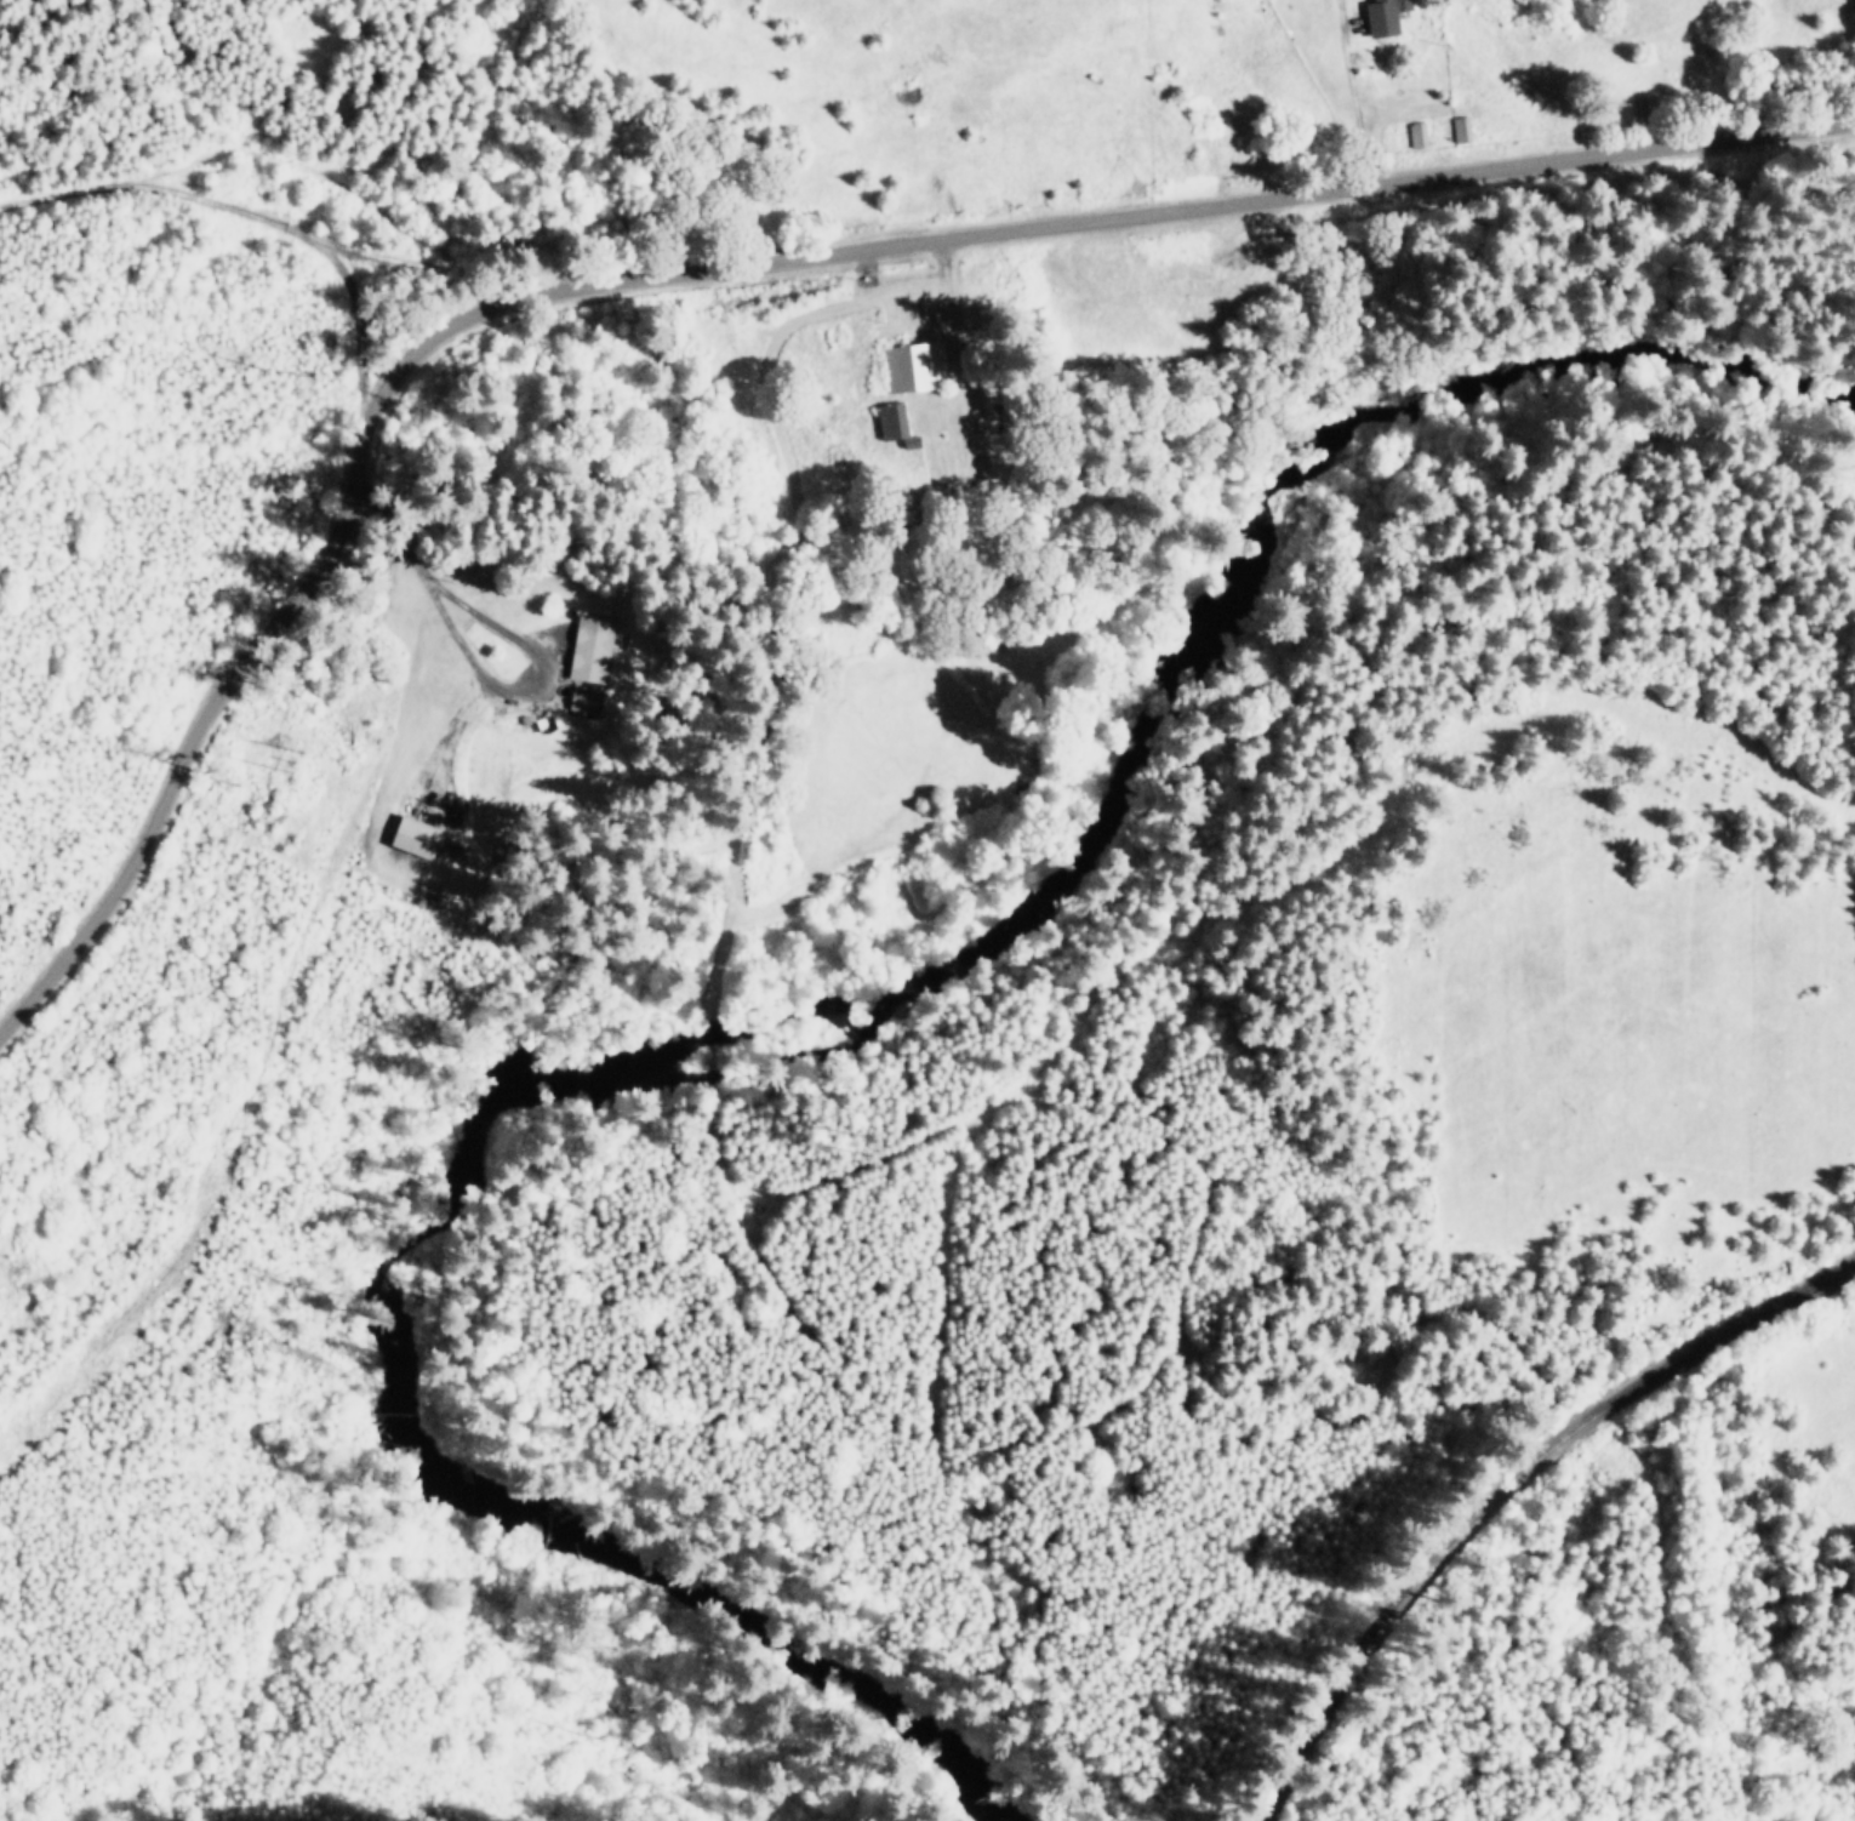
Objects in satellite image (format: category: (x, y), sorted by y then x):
building: (1387, 15)
building: (1461, 127)
road: (263, 213)
road: (724, 268)
building: (915, 365)
building: (896, 423)
building: (592, 647)
building: (582, 700)
building: (415, 835)
river: (790, 1017)
railway: (1505, 1488)

